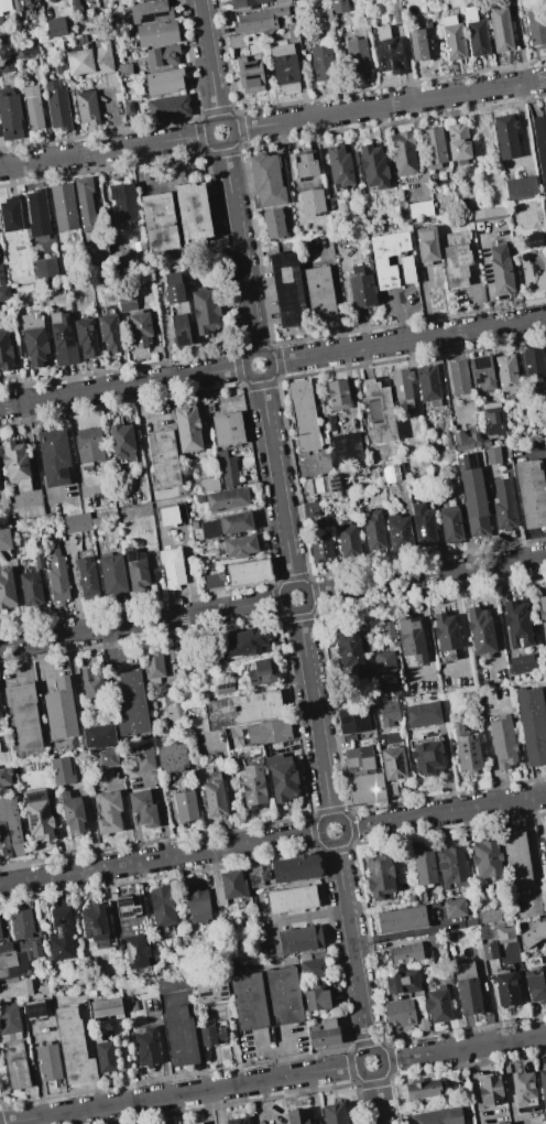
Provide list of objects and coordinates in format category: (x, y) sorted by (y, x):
building: (32, 0)
building: (48, 0)
building: (56, 0)
building: (248, 2)
building: (282, 3)
building: (4, 6)
building: (75, 7)
building: (338, 7)
building: (151, 11)
building: (396, 13)
building: (259, 20)
building: (0, 24)
building: (56, 26)
building: (536, 26)
building: (501, 28)
building: (476, 32)
building: (157, 33)
building: (454, 37)
building: (81, 40)
building: (237, 41)
building: (422, 44)
building: (25, 52)
building: (389, 52)
building: (141, 53)
building: (163, 55)
building: (358, 57)
building: (101, 58)
road: (209, 61)
building: (79, 62)
building: (7, 63)
building: (323, 63)
building: (284, 67)
building: (124, 68)
building: (250, 75)
building: (164, 82)
road: (389, 105)
building: (57, 106)
building: (87, 107)
building: (127, 107)
building: (33, 108)
building: (168, 108)
building: (10, 116)
road: (116, 119)
road: (230, 126)
building: (506, 137)
building: (458, 142)
building: (540, 144)
building: (434, 147)
road: (105, 151)
building: (404, 153)
building: (306, 165)
building: (339, 165)
building: (373, 167)
building: (266, 180)
building: (326, 180)
building: (521, 188)
building: (312, 202)
building: (86, 204)
building: (123, 204)
building: (64, 206)
building: (421, 209)
building: (498, 212)
building: (193, 213)
building: (11, 214)
building: (39, 214)
building: (159, 221)
building: (273, 224)
building: (426, 245)
road: (542, 246)
road: (239, 247)
park: (529, 247)
building: (97, 253)
building: (457, 258)
building: (406, 260)
building: (40, 269)
building: (501, 269)
building: (1, 275)
building: (174, 288)
building: (361, 288)
building: (287, 290)
building: (4, 293)
building: (319, 294)
building: (127, 300)
building: (206, 310)
building: (55, 317)
road: (400, 317)
building: (140, 328)
building: (181, 331)
building: (109, 333)
building: (86, 336)
building: (34, 338)
road: (407, 341)
building: (64, 342)
building: (4, 352)
road: (269, 359)
building: (533, 363)
building: (482, 372)
building: (506, 372)
building: (459, 379)
building: (297, 385)
road: (122, 386)
building: (428, 386)
building: (338, 392)
building: (402, 392)
building: (299, 393)
building: (301, 402)
road: (148, 406)
building: (302, 411)
building: (380, 411)
building: (493, 419)
building: (304, 420)
building: (330, 422)
building: (305, 428)
building: (187, 429)
building: (228, 429)
road: (135, 436)
building: (306, 437)
building: (467, 440)
building: (122, 441)
building: (447, 442)
building: (487, 442)
building: (308, 445)
building: (89, 446)
building: (347, 447)
road: (529, 453)
building: (493, 455)
building: (54, 456)
road: (75, 458)
road: (37, 461)
building: (323, 461)
building: (164, 462)
road: (544, 462)
building: (17, 465)
road: (32, 466)
building: (229, 473)
building: (393, 473)
road: (276, 480)
building: (326, 484)
building: (209, 485)
building: (531, 494)
building: (335, 495)
building: (227, 498)
building: (473, 499)
building: (181, 510)
building: (505, 515)
building: (168, 518)
building: (99, 521)
building: (77, 522)
building: (450, 522)
building: (195, 525)
building: (226, 525)
building: (424, 526)
building: (398, 528)
building: (373, 531)
building: (4, 539)
building: (348, 540)
building: (240, 545)
building: (320, 548)
building: (39, 561)
building: (172, 566)
building: (136, 571)
building: (249, 573)
building: (57, 575)
building: (112, 575)
building: (156, 575)
road: (426, 575)
building: (87, 579)
building: (212, 580)
building: (31, 588)
building: (7, 590)
road: (305, 592)
building: (543, 613)
road: (142, 622)
building: (517, 624)
building: (389, 630)
building: (480, 630)
building: (446, 631)
road: (459, 631)
building: (412, 639)
road: (425, 639)
building: (242, 642)
road: (111, 650)
building: (352, 652)
road: (545, 656)
building: (523, 664)
building: (153, 666)
building: (386, 670)
building: (261, 671)
building: (91, 684)
building: (225, 689)
building: (471, 692)
building: (133, 704)
building: (153, 705)
building: (173, 706)
building: (244, 709)
building: (59, 710)
building: (389, 710)
building: (1, 711)
road: (315, 713)
building: (23, 715)
building: (424, 715)
building: (457, 718)
building: (352, 720)
building: (532, 725)
building: (267, 732)
building: (99, 736)
building: (381, 737)
building: (349, 738)
road: (487, 741)
building: (502, 742)
building: (69, 749)
building: (426, 754)
building: (468, 754)
building: (143, 756)
building: (172, 757)
building: (108, 758)
building: (359, 759)
building: (394, 763)
building: (63, 770)
road: (226, 770)
building: (282, 777)
building: (4, 778)
building: (254, 786)
building: (365, 789)
building: (391, 790)
building: (215, 796)
building: (186, 806)
building: (143, 808)
road: (161, 811)
building: (73, 812)
building: (109, 812)
road: (445, 812)
building: (39, 815)
road: (127, 823)
road: (342, 824)
building: (10, 829)
building: (545, 836)
building: (545, 849)
road: (529, 856)
road: (161, 858)
building: (487, 860)
building: (517, 861)
building: (451, 866)
building: (425, 867)
building: (295, 868)
building: (543, 869)
building: (380, 876)
building: (258, 878)
building: (232, 885)
building: (218, 896)
building: (292, 899)
building: (162, 906)
building: (198, 906)
building: (127, 908)
building: (455, 908)
road: (303, 916)
building: (489, 917)
building: (403, 919)
building: (94, 922)
building: (471, 922)
building: (22, 925)
building: (214, 926)
road: (262, 930)
road: (405, 931)
building: (504, 931)
building: (531, 932)
building: (61, 936)
building: (0, 937)
building: (299, 939)
building: (435, 939)
building: (492, 941)
building: (6, 947)
road: (351, 947)
building: (32, 948)
building: (136, 951)
building: (489, 951)
building: (26, 954)
building: (411, 954)
building: (177, 959)
building: (7, 963)
building: (313, 968)
building: (446, 975)
building: (402, 982)
building: (174, 984)
building: (536, 985)
building: (506, 987)
building: (17, 988)
building: (468, 988)
building: (209, 991)
building: (284, 995)
building: (317, 999)
building: (249, 1001)
building: (437, 1004)
building: (132, 1006)
building: (106, 1007)
building: (35, 1009)
building: (400, 1014)
building: (9, 1018)
building: (423, 1025)
building: (325, 1034)
building: (181, 1035)
building: (212, 1036)
building: (2, 1038)
building: (74, 1047)
building: (146, 1047)
road: (471, 1047)
building: (105, 1055)
road: (274, 1055)
road: (380, 1057)
road: (163, 1058)
road: (390, 1060)
building: (50, 1061)
building: (15, 1066)
road: (37, 1070)
road: (506, 1083)
building: (543, 1084)
road: (471, 1085)
building: (425, 1089)
building: (523, 1089)
building: (490, 1090)
road: (179, 1094)
road: (376, 1099)
building: (335, 1113)
building: (297, 1116)
building: (439, 1116)
building: (238, 1121)
building: (199, 1123)
building: (504, 1123)

